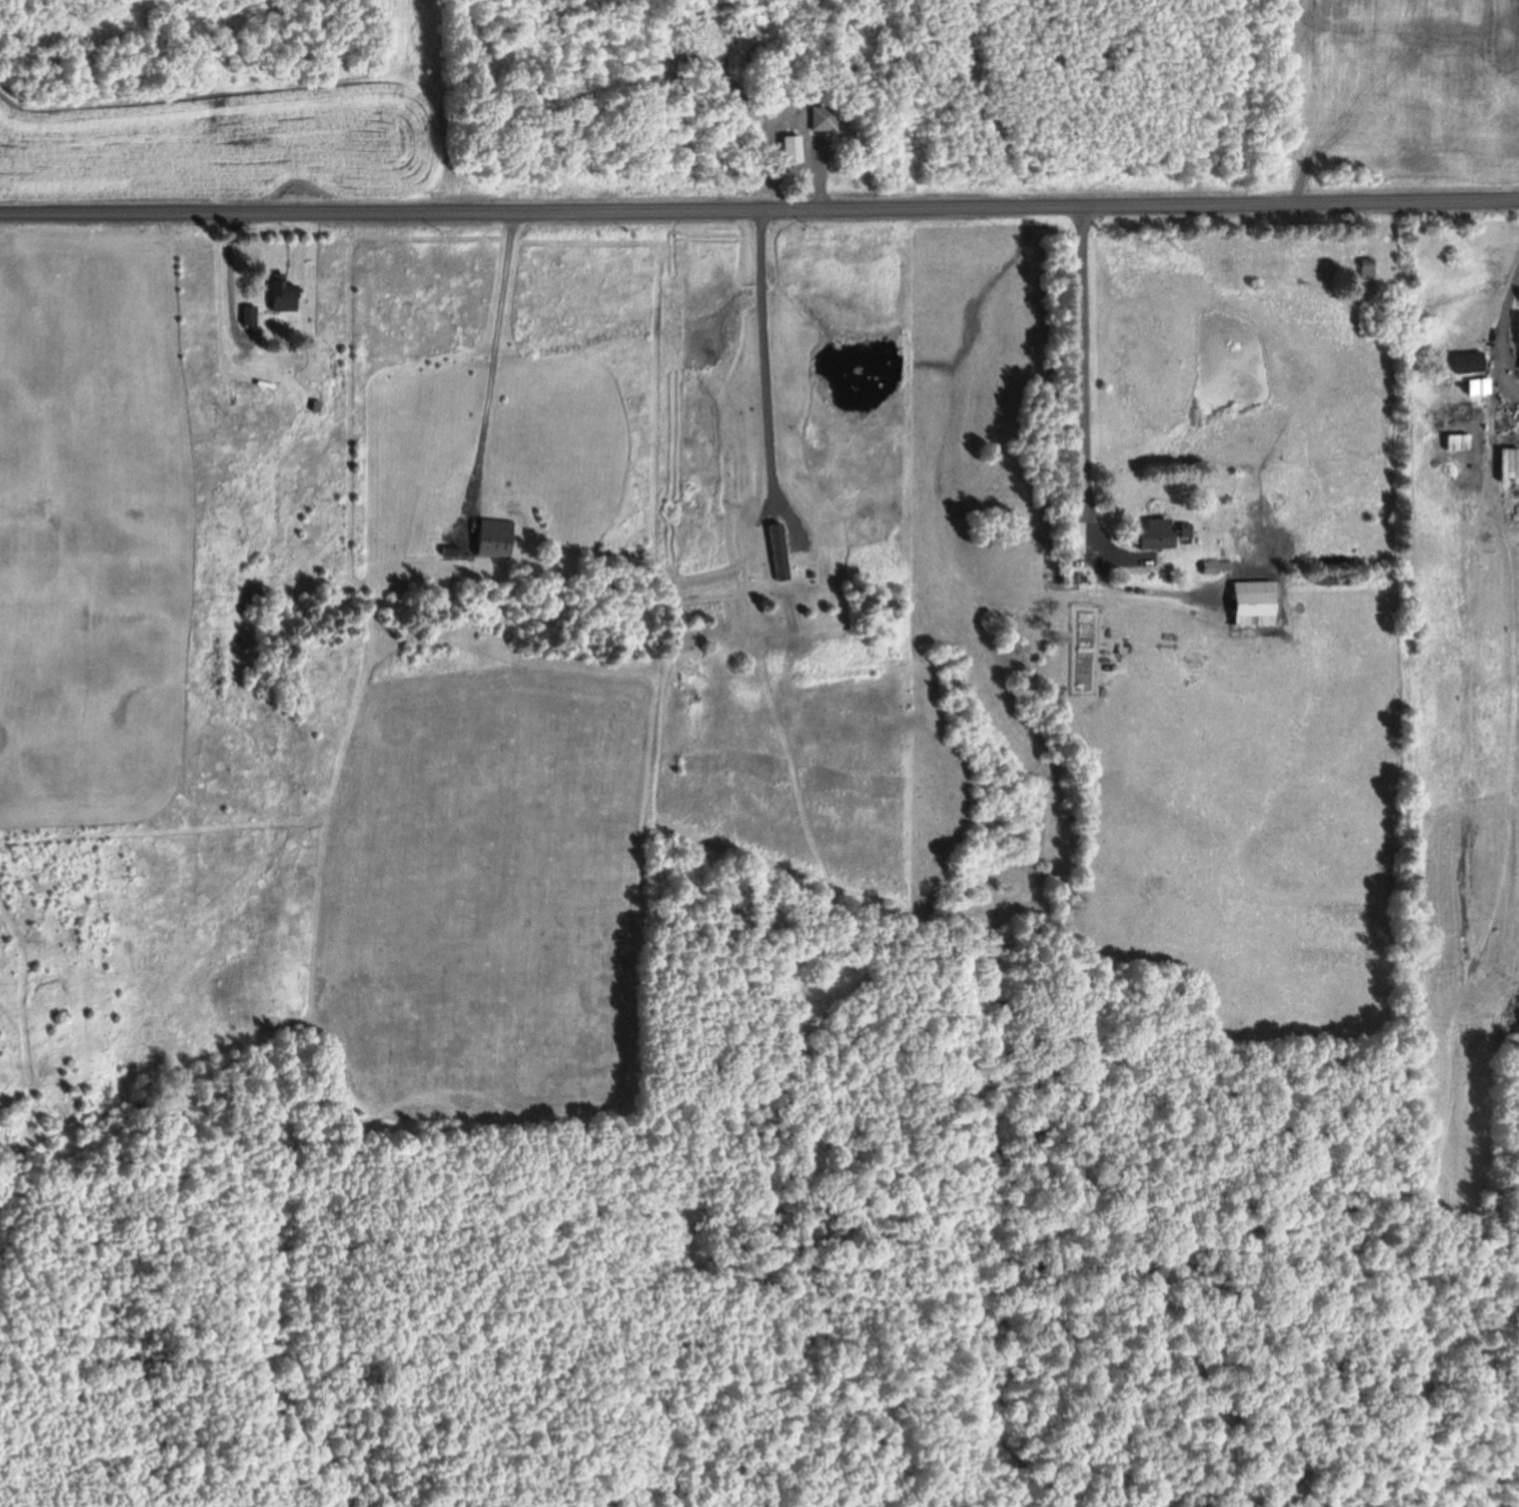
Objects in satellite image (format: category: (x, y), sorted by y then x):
crop: (1405, 96)
building: (823, 122)
road: (759, 214)
building: (1366, 271)
building: (281, 297)
building: (248, 319)
building: (1517, 333)
building: (1468, 366)
building: (1478, 390)
building: (1183, 533)
building: (1154, 537)
building: (496, 540)

